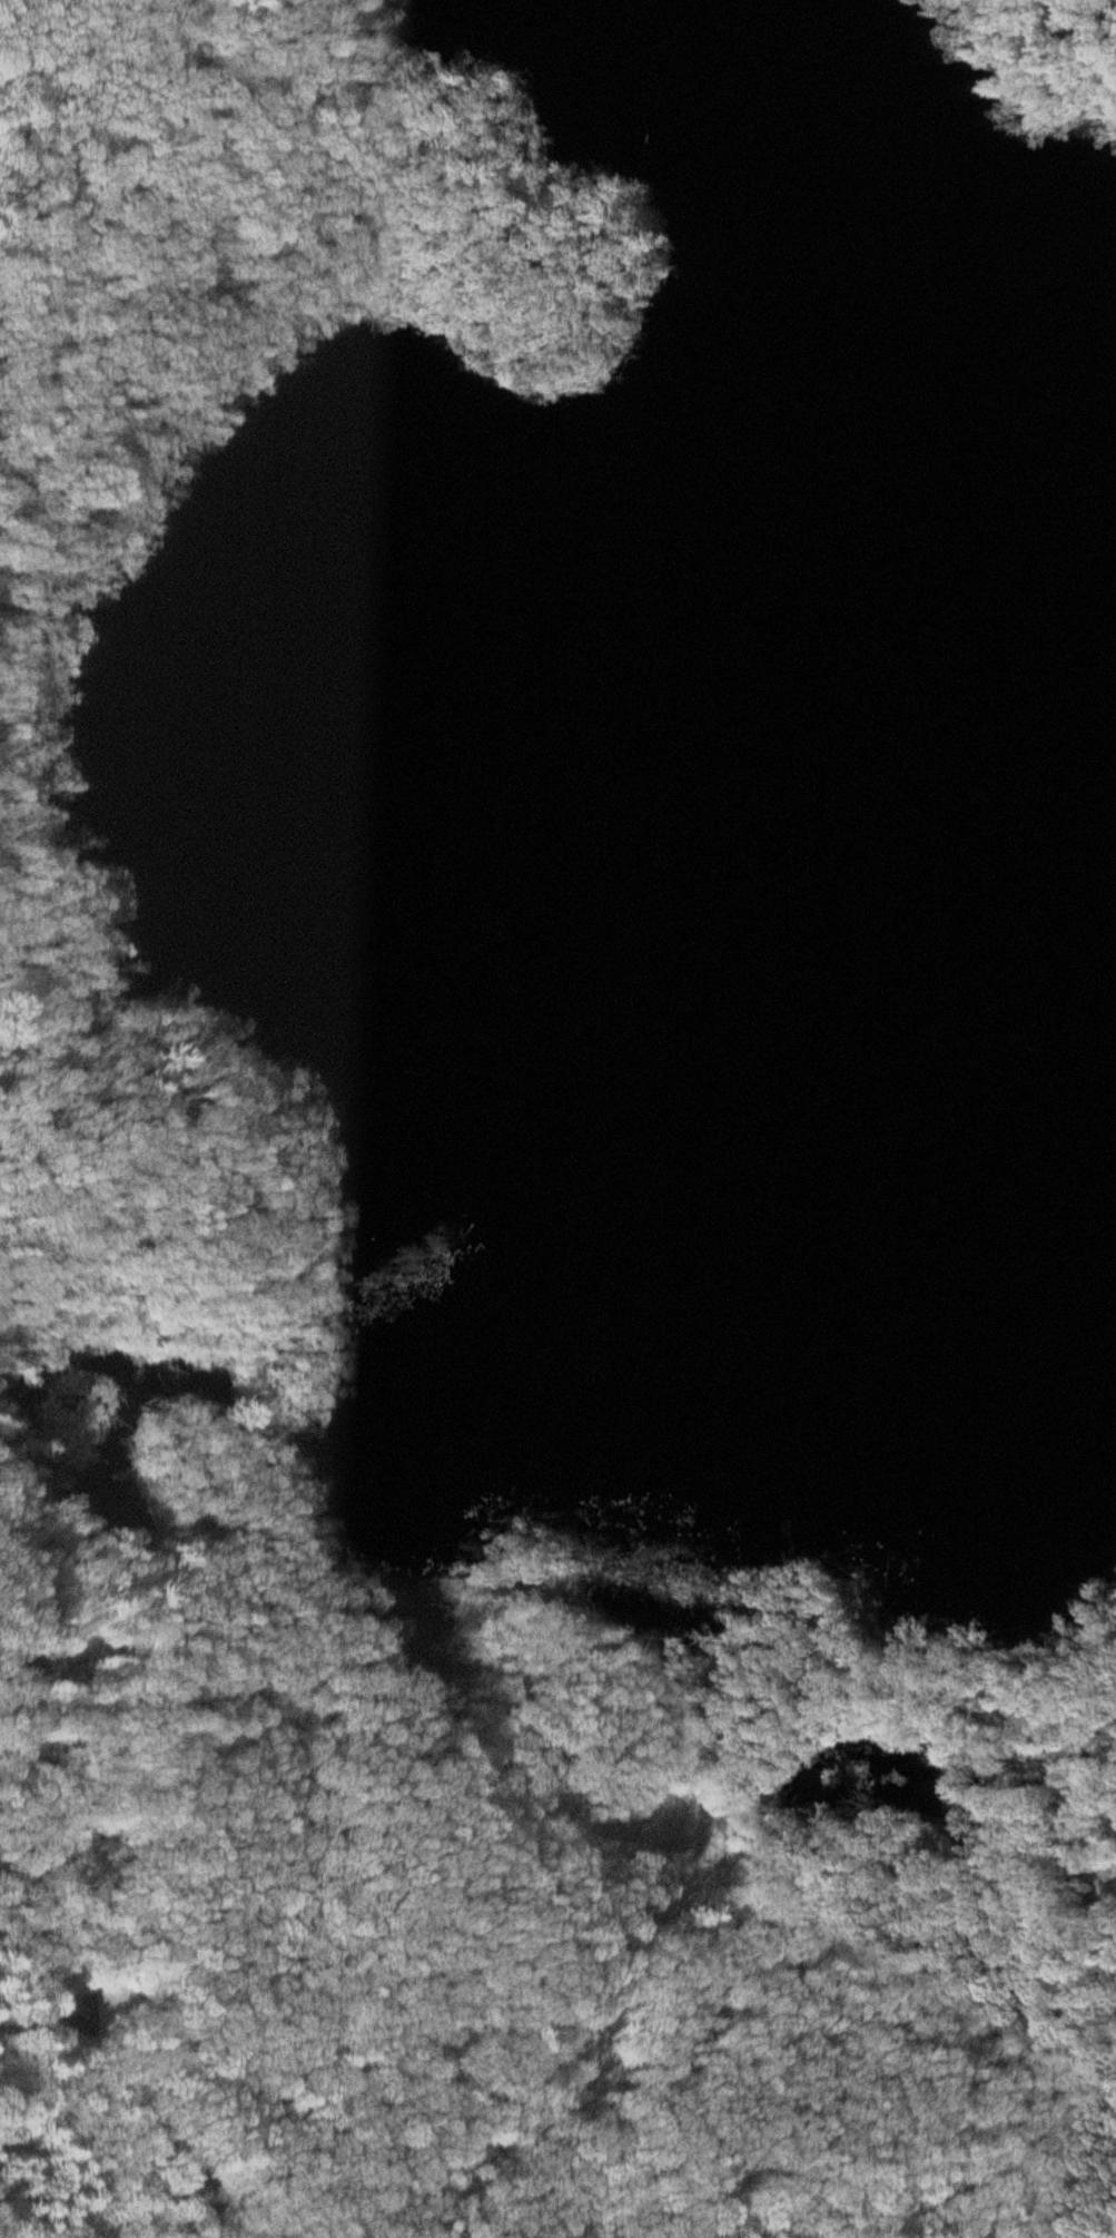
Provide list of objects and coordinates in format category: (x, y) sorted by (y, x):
road: (80, 242)
road: (19, 1021)
road: (169, 1673)

